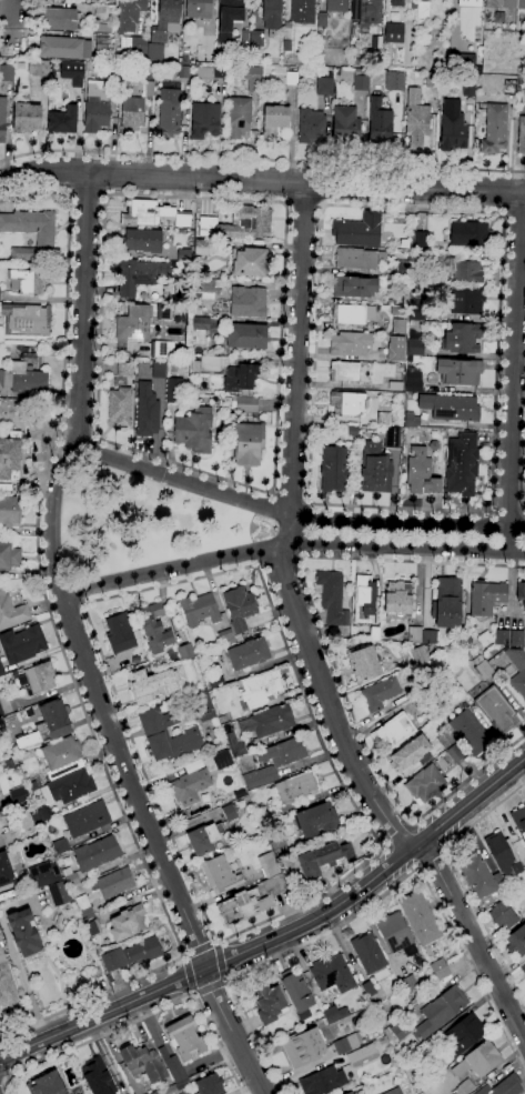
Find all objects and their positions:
building: (397, 2)
building: (470, 2)
building: (499, 3)
building: (521, 4)
building: (336, 6)
building: (198, 9)
building: (302, 11)
road: (27, 12)
building: (422, 12)
building: (271, 13)
building: (364, 13)
road: (11, 14)
building: (129, 14)
building: (229, 18)
building: (488, 18)
building: (59, 19)
building: (322, 19)
building: (165, 20)
building: (101, 27)
building: (83, 29)
building: (392, 32)
building: (286, 36)
building: (245, 38)
building: (256, 39)
building: (33, 41)
building: (103, 42)
building: (64, 47)
building: (134, 47)
building: (38, 67)
building: (71, 72)
building: (184, 72)
building: (209, 72)
building: (6, 73)
building: (111, 73)
building: (253, 78)
building: (291, 79)
building: (361, 79)
building: (432, 80)
building: (394, 81)
building: (324, 84)
building: (149, 88)
building: (511, 88)
building: (468, 89)
building: (97, 106)
building: (169, 110)
building: (132, 114)
building: (26, 117)
building: (239, 117)
building: (2, 119)
building: (204, 119)
building: (63, 120)
building: (274, 121)
building: (378, 124)
building: (415, 124)
building: (345, 126)
building: (311, 127)
building: (452, 127)
building: (494, 129)
building: (521, 134)
road: (261, 160)
road: (262, 180)
road: (128, 195)
road: (89, 198)
road: (303, 205)
building: (153, 213)
road: (513, 215)
building: (208, 222)
building: (249, 223)
building: (357, 230)
building: (471, 234)
building: (44, 240)
building: (143, 240)
building: (421, 241)
building: (201, 247)
building: (421, 253)
building: (183, 255)
building: (359, 258)
building: (250, 262)
building: (402, 269)
building: (466, 272)
building: (139, 274)
building: (29, 279)
building: (354, 287)
building: (211, 288)
building: (400, 299)
building: (248, 301)
building: (465, 301)
road: (82, 309)
building: (416, 309)
building: (164, 311)
building: (353, 313)
building: (26, 320)
building: (132, 325)
building: (398, 327)
building: (200, 329)
building: (0, 333)
building: (246, 335)
building: (463, 339)
building: (350, 343)
building: (415, 348)
building: (161, 349)
building: (395, 349)
building: (210, 362)
building: (125, 369)
building: (159, 370)
building: (343, 371)
building: (458, 371)
road: (513, 372)
building: (23, 377)
building: (240, 377)
building: (413, 379)
building: (395, 385)
building: (175, 391)
building: (196, 391)
building: (244, 403)
building: (347, 403)
building: (120, 407)
building: (450, 408)
building: (147, 410)
building: (383, 418)
building: (411, 420)
building: (194, 430)
building: (351, 430)
building: (392, 438)
building: (249, 444)
building: (10, 455)
building: (403, 461)
building: (462, 464)
building: (334, 469)
building: (375, 469)
building: (421, 472)
road: (291, 493)
road: (489, 510)
building: (9, 511)
road: (506, 511)
road: (53, 518)
road: (292, 519)
park: (142, 522)
road: (290, 533)
road: (290, 542)
building: (9, 555)
road: (277, 562)
building: (521, 592)
building: (332, 596)
building: (486, 596)
building: (364, 599)
building: (398, 600)
building: (446, 603)
building: (239, 609)
building: (200, 610)
building: (11, 612)
building: (524, 619)
building: (154, 628)
building: (121, 632)
building: (414, 634)
building: (428, 636)
building: (501, 636)
building: (225, 638)
building: (517, 638)
building: (22, 643)
road: (63, 646)
building: (185, 652)
building: (249, 653)
road: (331, 654)
building: (418, 655)
building: (446, 656)
building: (516, 658)
building: (159, 661)
building: (364, 663)
building: (483, 670)
building: (1, 671)
building: (37, 678)
building: (519, 683)
building: (155, 684)
building: (260, 689)
building: (380, 693)
building: (204, 706)
building: (496, 709)
building: (1, 713)
building: (53, 720)
building: (267, 721)
building: (393, 731)
building: (470, 732)
building: (166, 735)
building: (446, 740)
building: (234, 744)
building: (456, 752)
building: (410, 753)
building: (62, 757)
building: (222, 760)
building: (274, 761)
building: (442, 763)
building: (9, 764)
road: (130, 782)
building: (31, 784)
building: (425, 784)
building: (190, 786)
building: (296, 786)
building: (72, 787)
building: (36, 793)
building: (26, 805)
building: (229, 811)
building: (41, 815)
building: (87, 819)
building: (316, 820)
building: (519, 821)
building: (11, 836)
building: (203, 839)
building: (61, 846)
building: (280, 846)
building: (97, 853)
building: (503, 854)
building: (327, 857)
building: (67, 861)
building: (269, 864)
building: (8, 865)
road: (354, 867)
building: (44, 874)
building: (220, 874)
building: (478, 876)
building: (70, 877)
road: (461, 880)
building: (114, 883)
building: (58, 893)
building: (252, 901)
road: (371, 901)
building: (84, 907)
building: (503, 915)
building: (420, 917)
building: (128, 923)
building: (92, 927)
building: (24, 932)
building: (396, 934)
road: (277, 935)
building: (516, 941)
road: (474, 942)
road: (200, 944)
building: (132, 955)
road: (232, 955)
building: (371, 955)
building: (523, 968)
building: (441, 972)
building: (332, 974)
road: (185, 977)
building: (407, 984)
building: (8, 985)
road: (210, 987)
building: (368, 988)
building: (296, 993)
building: (267, 1003)
building: (441, 1010)
building: (334, 1014)
road: (143, 1016)
building: (400, 1031)
road: (232, 1032)
building: (464, 1034)
building: (185, 1037)
building: (346, 1043)
building: (303, 1047)
building: (361, 1053)
building: (478, 1060)
building: (143, 1062)
building: (176, 1072)
building: (95, 1076)
building: (322, 1081)
building: (44, 1084)
building: (210, 1084)
building: (464, 1086)
building: (504, 1086)
building: (171, 1090)
building: (394, 1091)
building: (153, 1093)
building: (349, 1093)

